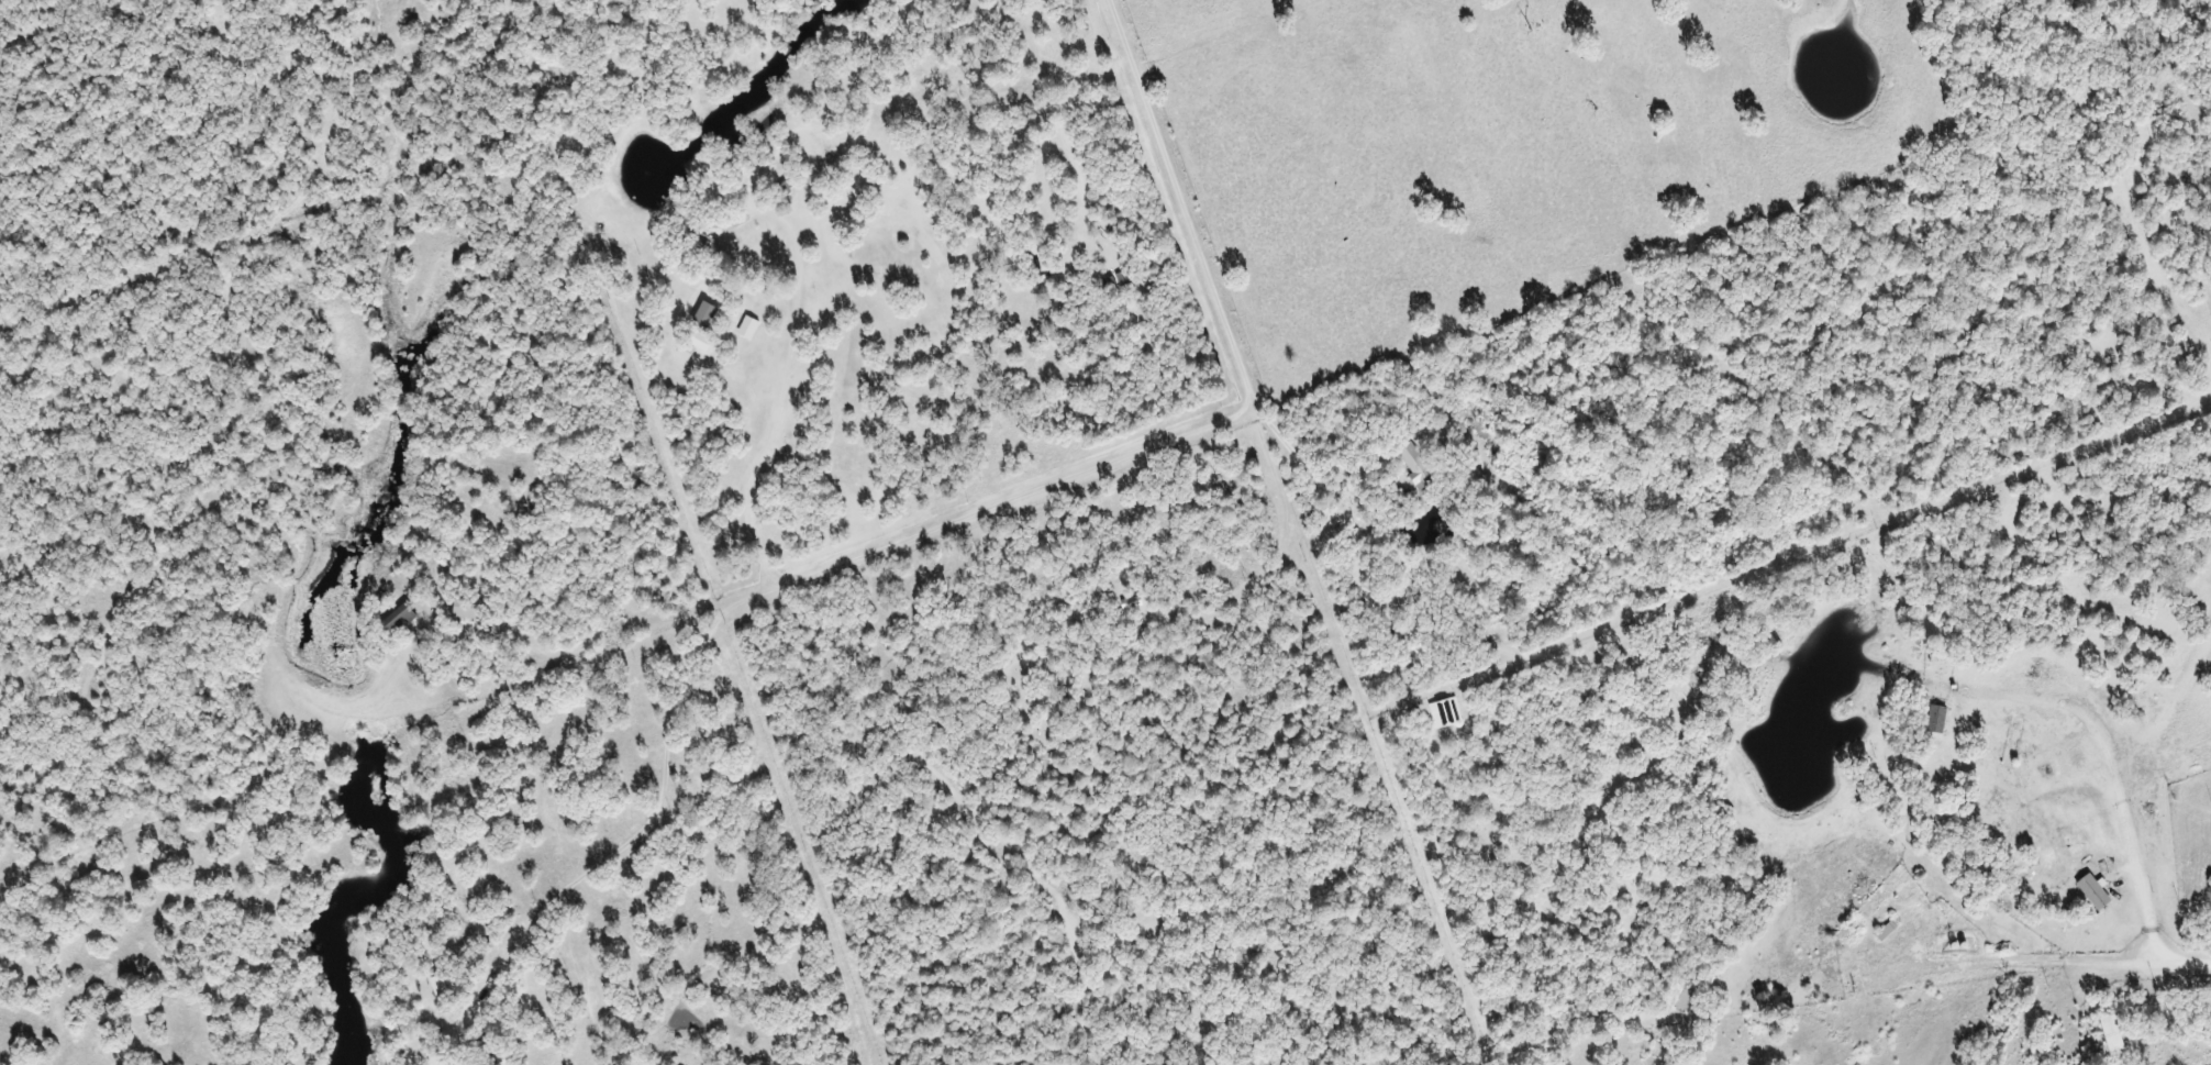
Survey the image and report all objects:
building: (733, 223)
road: (1187, 439)
building: (1420, 463)
building: (469, 608)
building: (402, 619)
building: (1929, 719)
building: (443, 988)
building: (2102, 1033)

